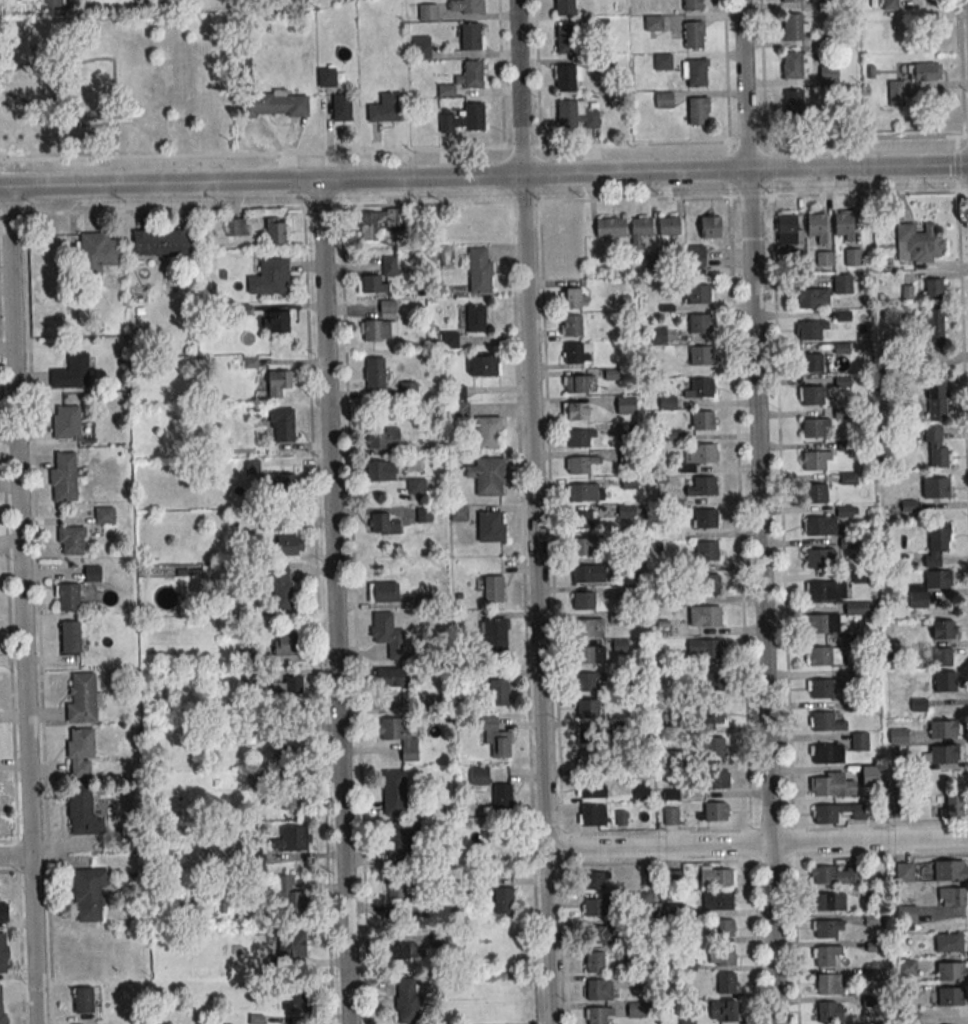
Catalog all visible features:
building: (788, 0)
building: (51, 4)
building: (836, 4)
building: (888, 4)
building: (691, 5)
building: (465, 6)
building: (563, 7)
building: (427, 11)
building: (652, 22)
building: (791, 26)
building: (692, 34)
building: (470, 36)
building: (841, 36)
building: (565, 39)
building: (420, 50)
road: (104, 56)
building: (662, 61)
building: (603, 64)
building: (791, 65)
road: (761, 70)
road: (726, 71)
building: (695, 72)
building: (472, 73)
road: (500, 73)
road: (537, 73)
building: (828, 75)
building: (327, 76)
building: (564, 77)
building: (911, 79)
park: (116, 84)
road: (745, 84)
building: (663, 100)
building: (793, 103)
building: (274, 104)
building: (342, 107)
building: (386, 108)
building: (696, 110)
building: (565, 113)
building: (473, 116)
road: (66, 121)
road: (483, 147)
road: (484, 176)
road: (483, 202)
building: (378, 221)
building: (709, 224)
building: (844, 224)
building: (669, 226)
building: (817, 226)
building: (235, 227)
building: (610, 228)
building: (640, 229)
building: (787, 231)
building: (277, 232)
building: (160, 242)
building: (917, 243)
building: (98, 251)
building: (445, 254)
building: (696, 255)
building: (852, 256)
building: (824, 258)
building: (480, 270)
building: (270, 277)
building: (378, 277)
building: (841, 283)
building: (931, 288)
building: (698, 293)
building: (573, 298)
building: (808, 298)
building: (387, 305)
building: (472, 317)
building: (278, 321)
building: (698, 323)
building: (571, 325)
building: (933, 327)
building: (378, 330)
building: (809, 330)
building: (660, 335)
building: (449, 339)
building: (577, 352)
building: (699, 355)
building: (810, 363)
building: (485, 365)
building: (70, 371)
building: (375, 373)
building: (279, 382)
building: (577, 383)
building: (700, 387)
building: (409, 389)
building: (811, 395)
building: (936, 399)
building: (626, 405)
building: (459, 410)
building: (576, 410)
building: (66, 419)
building: (701, 420)
building: (281, 424)
building: (812, 427)
building: (488, 432)
building: (580, 437)
building: (383, 438)
building: (936, 448)
building: (703, 453)
building: (813, 460)
building: (580, 463)
building: (380, 471)
building: (488, 475)
building: (849, 477)
building: (277, 481)
building: (416, 486)
building: (703, 486)
building: (63, 487)
building: (935, 487)
building: (585, 491)
building: (815, 492)
building: (625, 511)
road: (533, 512)
building: (457, 513)
building: (424, 514)
building: (104, 515)
building: (585, 518)
building: (704, 518)
building: (270, 523)
building: (382, 524)
building: (815, 525)
building: (491, 526)
building: (939, 537)
building: (71, 540)
building: (289, 545)
building: (584, 546)
building: (706, 550)
building: (816, 558)
building: (591, 572)
building: (92, 573)
building: (938, 579)
building: (707, 584)
building: (281, 587)
building: (493, 588)
building: (818, 591)
building: (383, 592)
building: (68, 596)
road: (762, 596)
building: (583, 600)
road: (336, 601)
road: (23, 605)
building: (857, 609)
building: (708, 614)
building: (820, 623)
building: (589, 627)
building: (943, 629)
building: (389, 635)
building: (69, 636)
building: (494, 636)
building: (286, 644)
building: (709, 648)
building: (592, 654)
building: (819, 656)
building: (942, 656)
building: (390, 677)
building: (588, 680)
building: (710, 681)
building: (945, 681)
building: (287, 686)
building: (820, 689)
building: (499, 692)
building: (81, 698)
building: (919, 704)
building: (588, 708)
building: (711, 713)
building: (821, 720)
building: (943, 729)
building: (398, 734)
building: (588, 735)
building: (898, 735)
building: (496, 737)
building: (859, 741)
building: (712, 746)
building: (81, 752)
building: (293, 754)
building: (823, 754)
building: (943, 754)
building: (669, 758)
building: (869, 775)
building: (715, 778)
building: (824, 786)
building: (491, 787)
building: (591, 789)
building: (394, 793)
building: (294, 796)
building: (951, 806)
building: (714, 811)
building: (83, 812)
building: (824, 814)
building: (592, 815)
building: (671, 817)
building: (292, 839)
building: (400, 840)
road: (758, 845)
road: (16, 855)
building: (255, 859)
building: (951, 870)
building: (904, 871)
building: (834, 874)
building: (716, 876)
building: (673, 878)
building: (596, 880)
building: (400, 890)
building: (88, 893)
building: (289, 896)
building: (952, 896)
building: (503, 900)
building: (716, 901)
building: (828, 901)
building: (596, 905)
building: (3, 911)
building: (906, 913)
building: (871, 919)
road: (753, 926)
road: (795, 926)
building: (723, 928)
building: (827, 928)
building: (601, 933)
building: (948, 942)
building: (292, 943)
building: (406, 950)
building: (3, 952)
building: (724, 955)
building: (824, 956)
building: (593, 962)
building: (905, 967)
building: (952, 970)
building: (725, 983)
building: (825, 984)
building: (595, 990)
building: (949, 995)
building: (84, 999)
building: (409, 1000)
building: (299, 1002)
building: (2, 1004)
building: (636, 1009)
building: (726, 1011)
building: (826, 1012)
building: (596, 1015)

